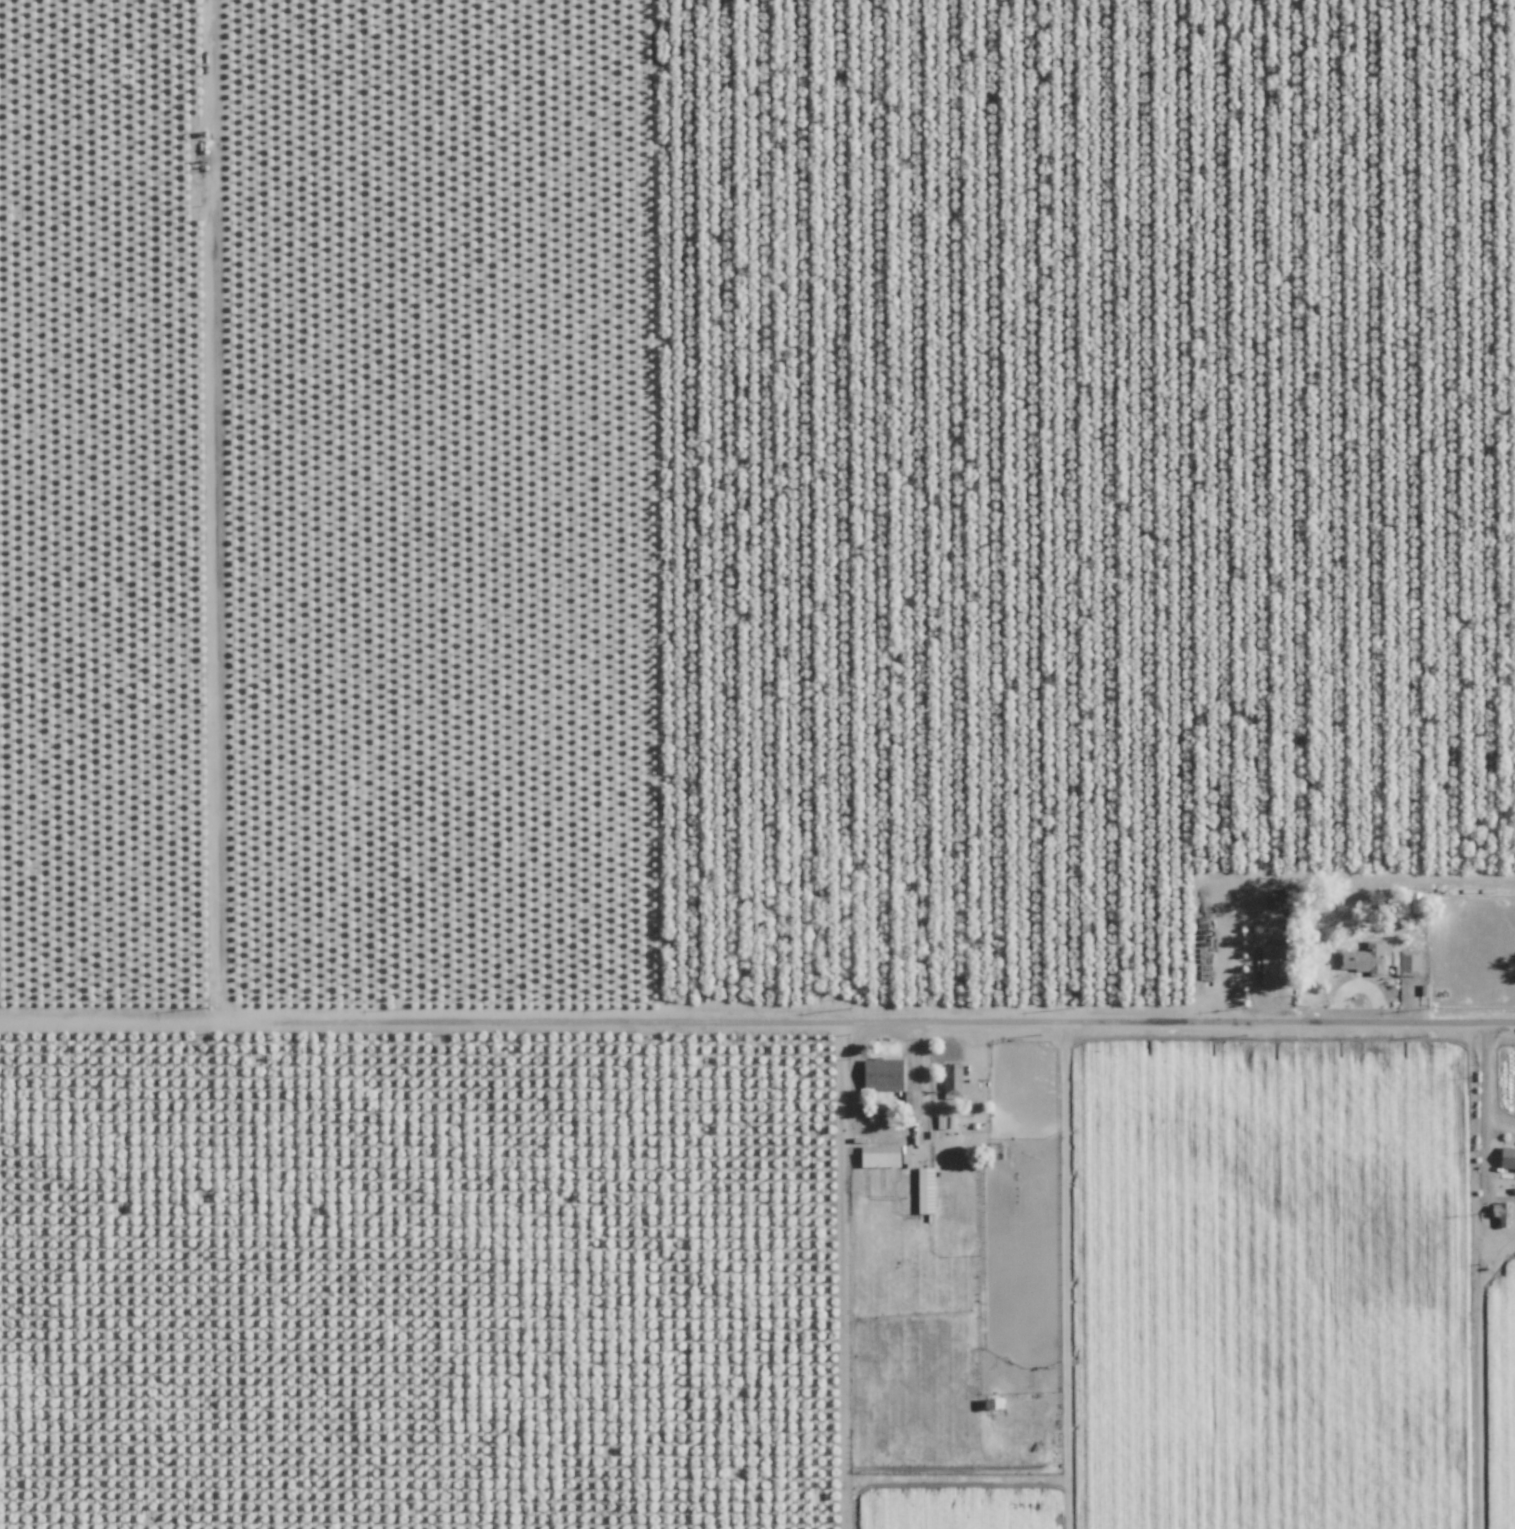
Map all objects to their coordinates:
building: (1377, 959)
building: (1276, 965)
road: (757, 1018)
building: (957, 1081)
road: (1483, 1102)
building: (945, 1122)
building: (879, 1157)
building: (1505, 1158)
crop: (421, 1285)
crop: (960, 1286)
crop: (1298, 1288)
building: (996, 1402)

